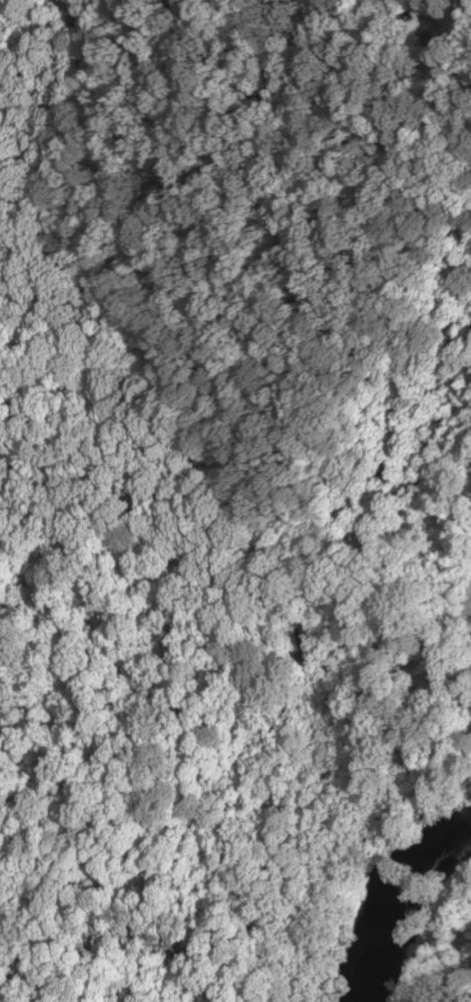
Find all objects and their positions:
park: (214, 845)
river: (384, 896)

